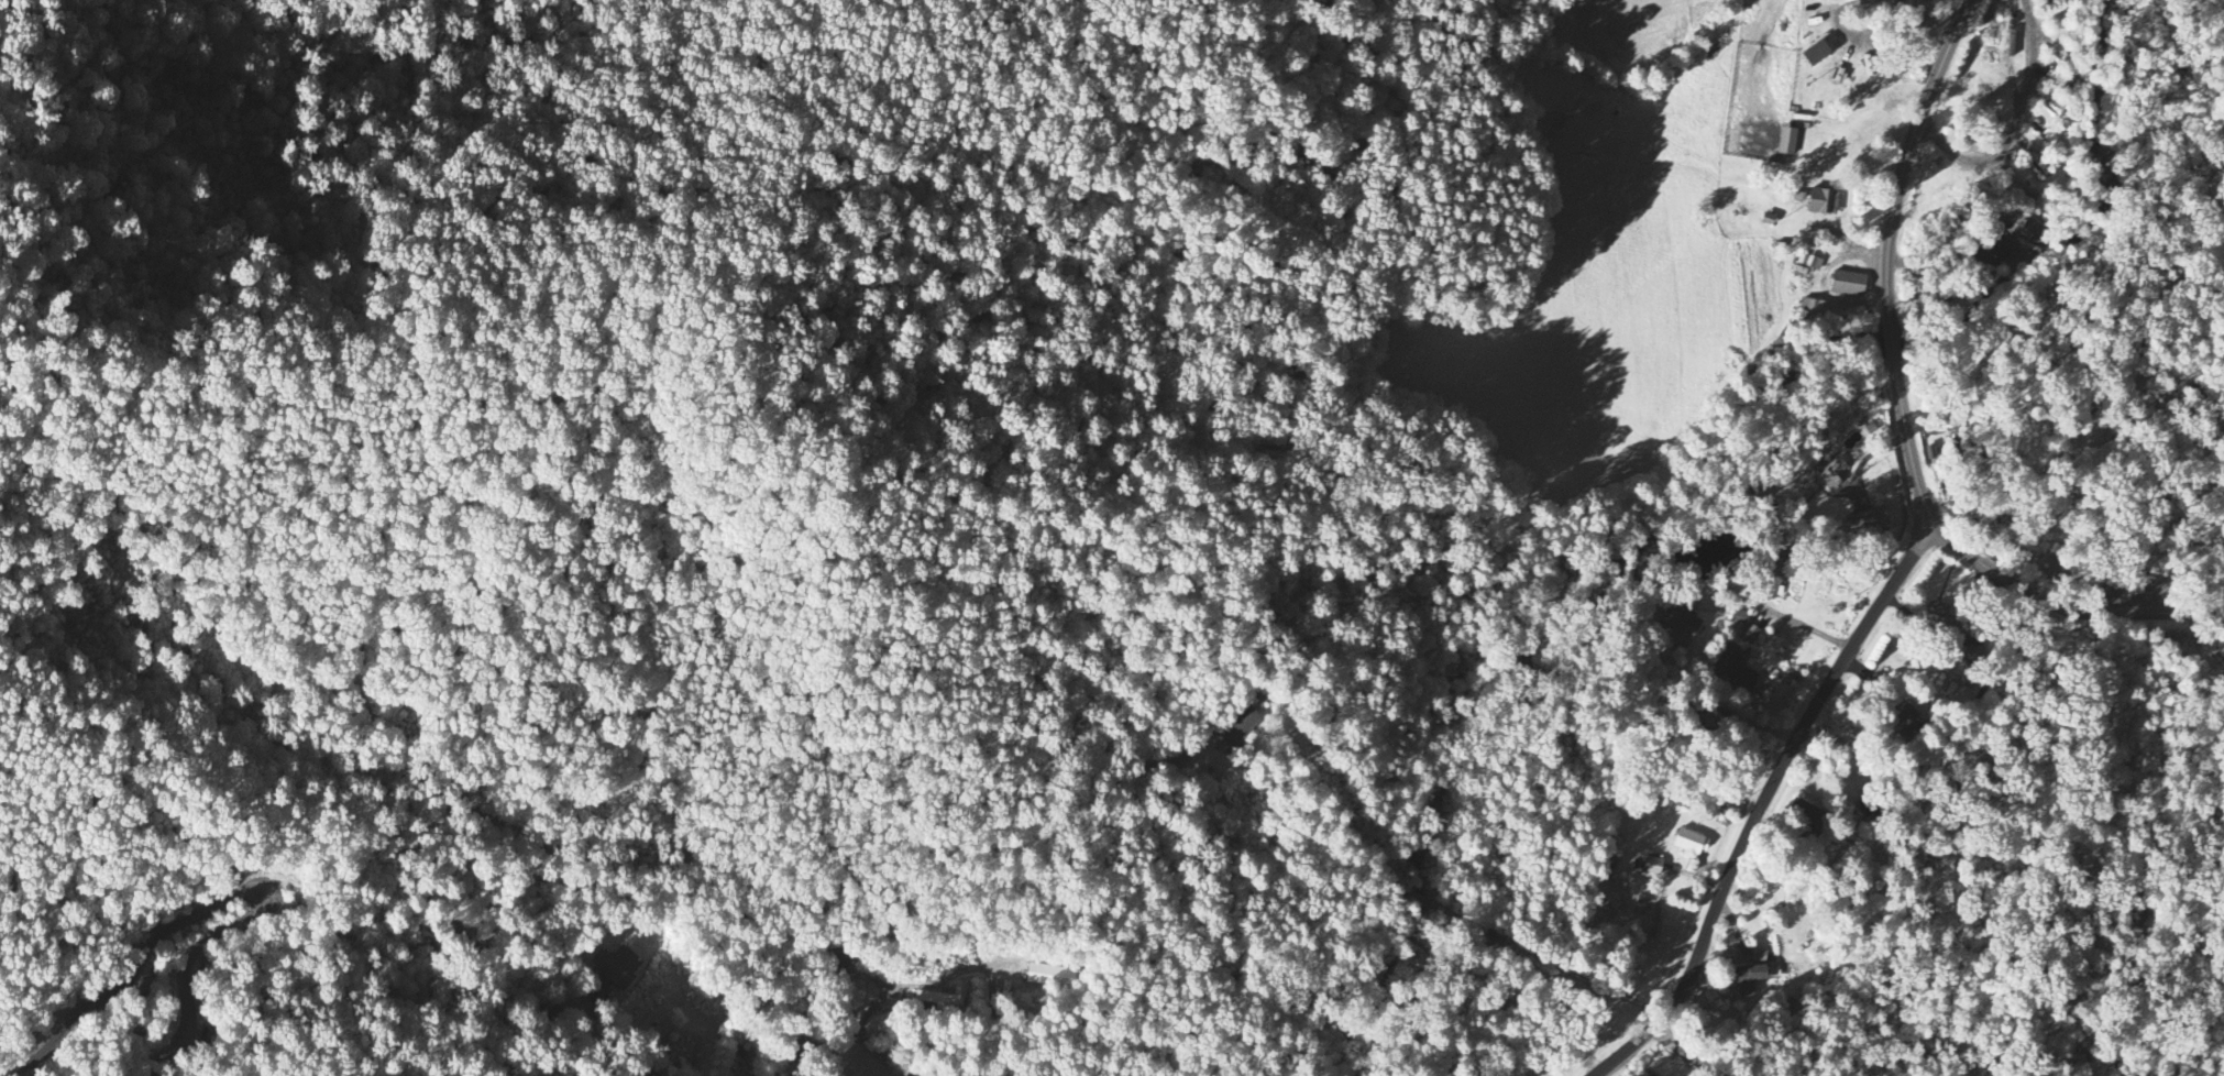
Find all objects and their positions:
road: (1859, 31)
building: (1815, 50)
road: (2011, 54)
road: (1870, 112)
road: (2014, 127)
building: (1787, 138)
building: (1823, 198)
road: (1936, 221)
building: (2032, 233)
building: (1992, 248)
building: (1848, 279)
road: (1902, 416)
building: (1830, 472)
building: (1869, 514)
dam: (1665, 535)
dam: (1656, 555)
building: (1772, 584)
building: (1739, 613)
road: (1799, 621)
building: (1750, 629)
building: (1975, 651)
building: (1736, 671)
building: (1240, 723)
road: (1762, 805)
building: (1688, 839)
road: (1421, 897)
road: (217, 901)
building: (1759, 952)
road: (1550, 958)
building: (615, 967)
road: (1218, 967)
building: (1050, 971)
building: (1748, 975)
road: (927, 981)
building: (944, 995)
road: (626, 1043)

